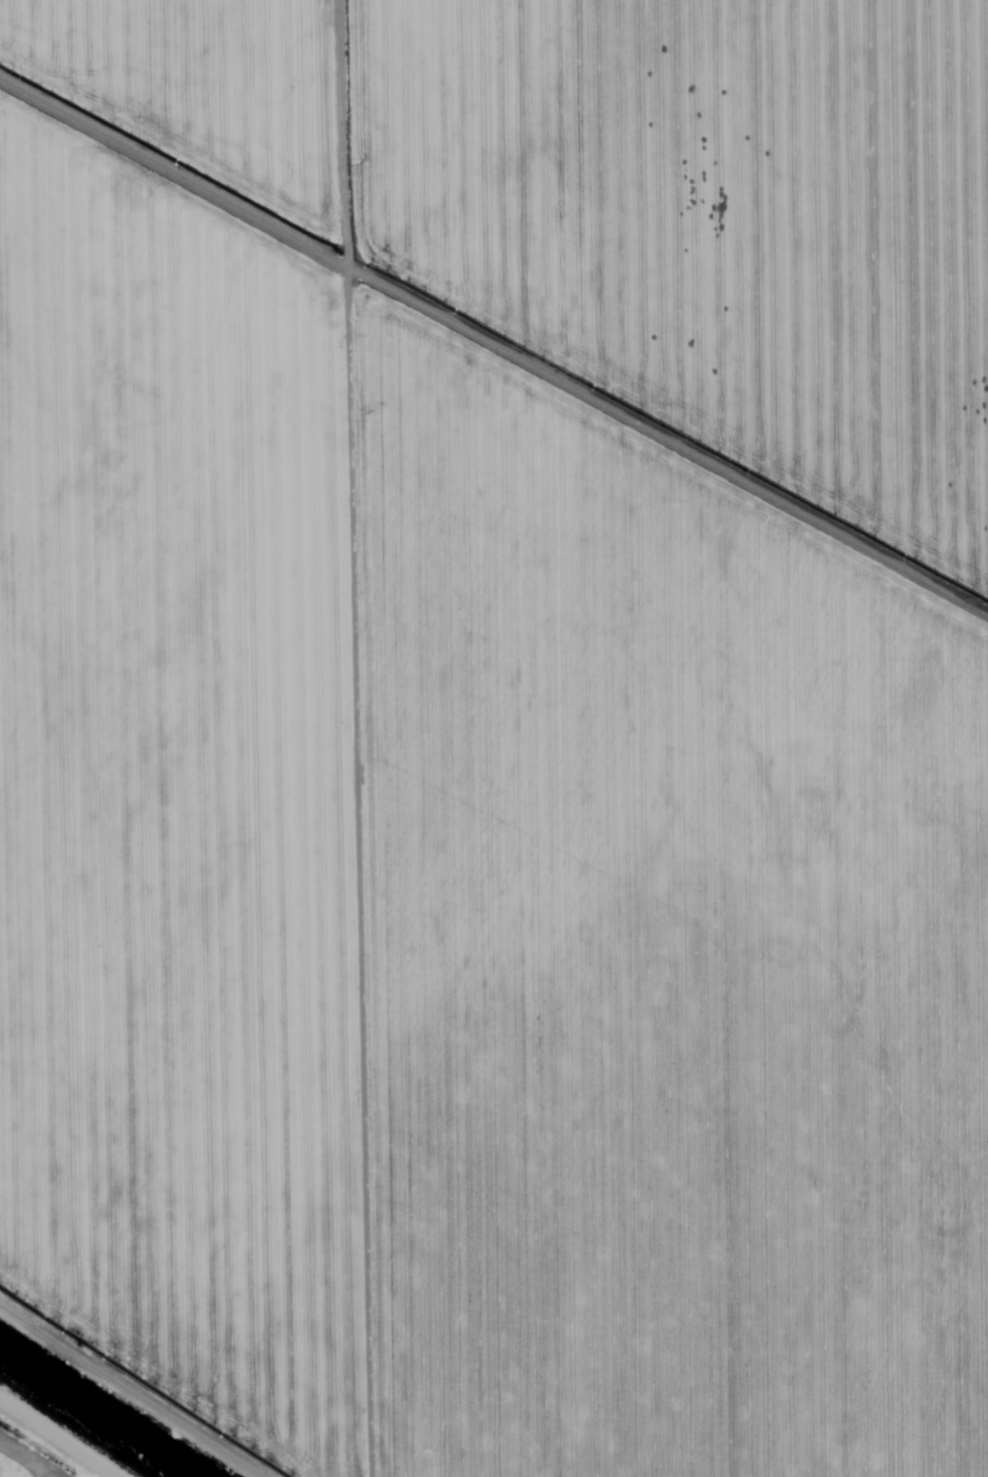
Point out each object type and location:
crop: (500, 727)
road: (177, 1362)
crop: (14, 1467)

